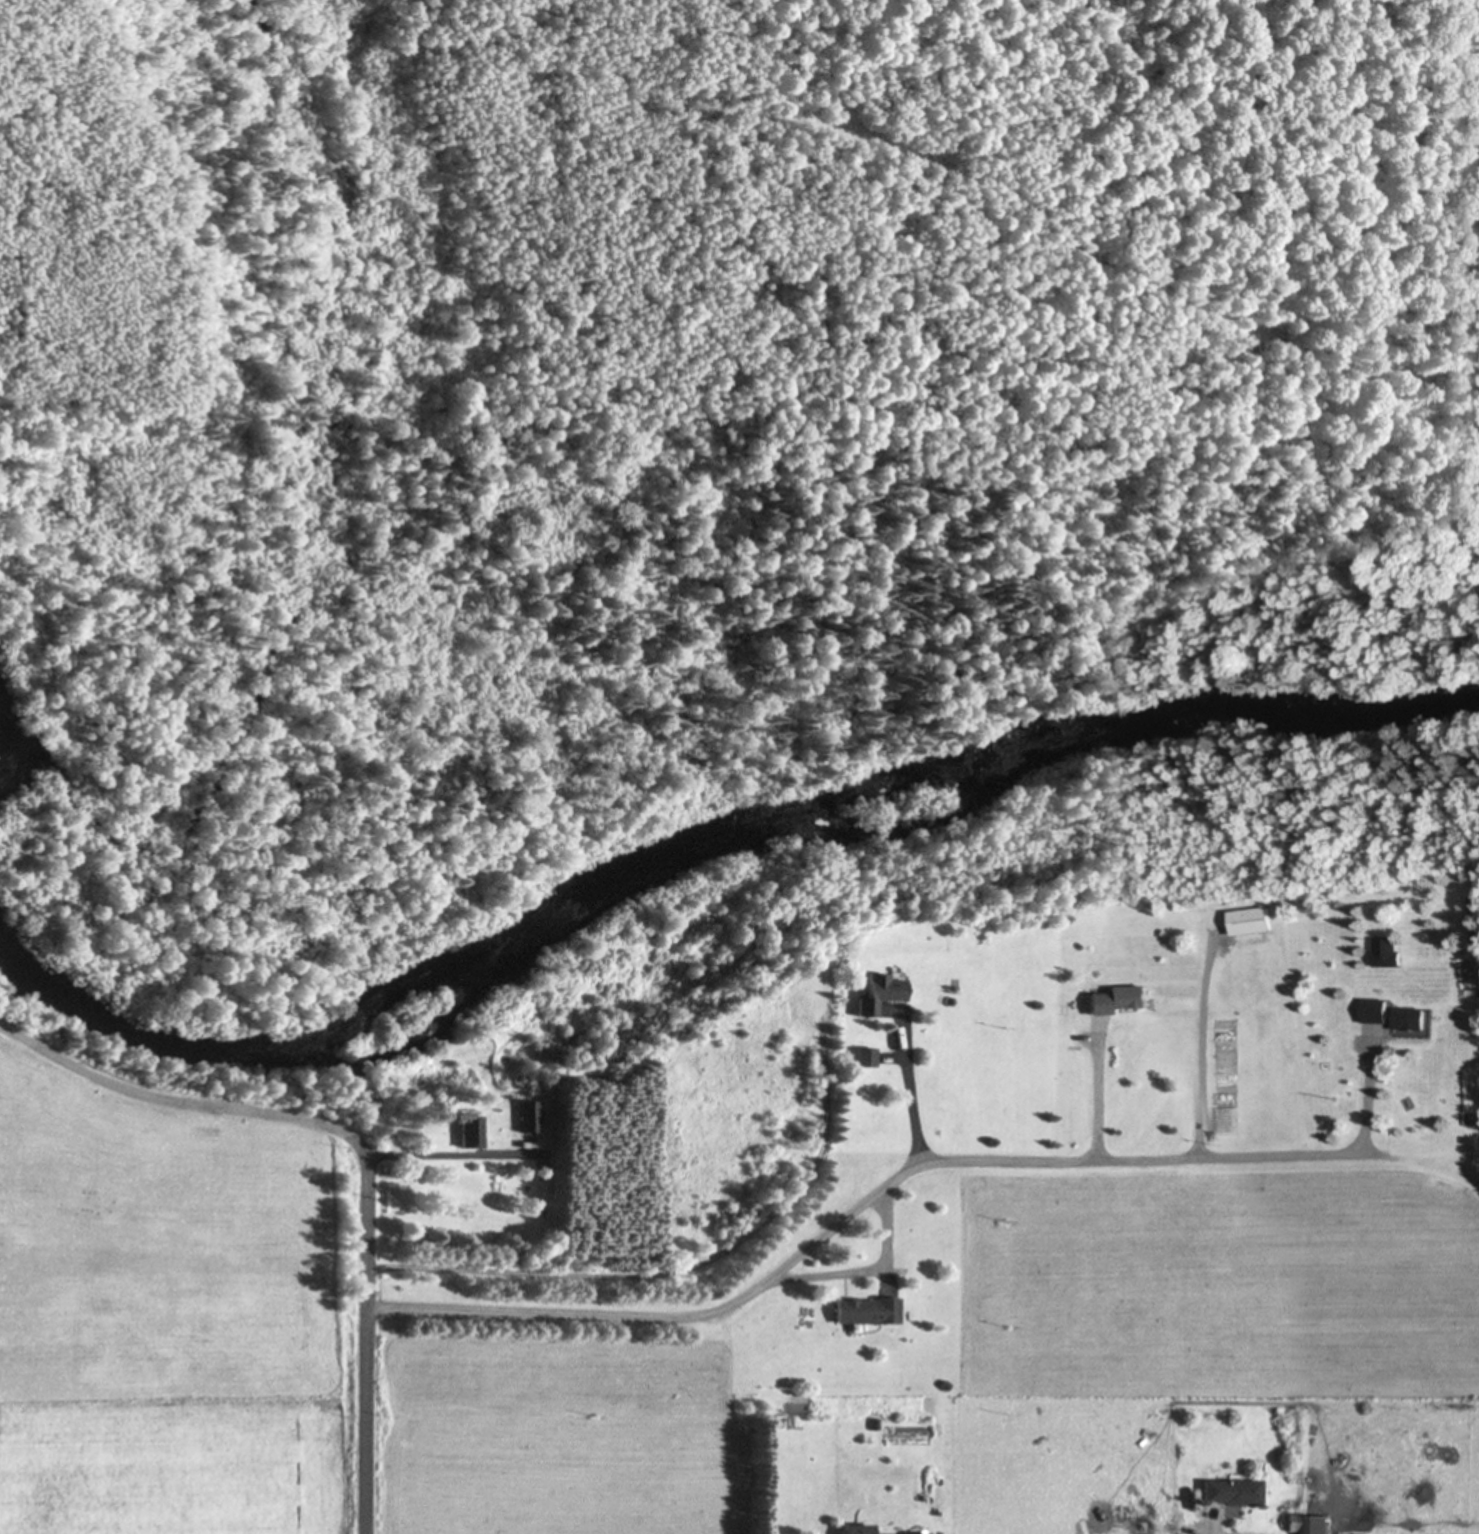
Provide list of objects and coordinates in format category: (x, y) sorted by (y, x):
building: (1245, 340)
river: (698, 861)
building: (1244, 922)
building: (1380, 953)
building: (878, 994)
parking lot: (816, 999)
building: (1113, 1000)
building: (1384, 1015)
building: (863, 1058)
building: (526, 1117)
building: (465, 1132)
road: (860, 1208)
building: (864, 1312)
road: (372, 1343)
building: (1229, 1493)
building: (1304, 1525)
building: (855, 1529)

